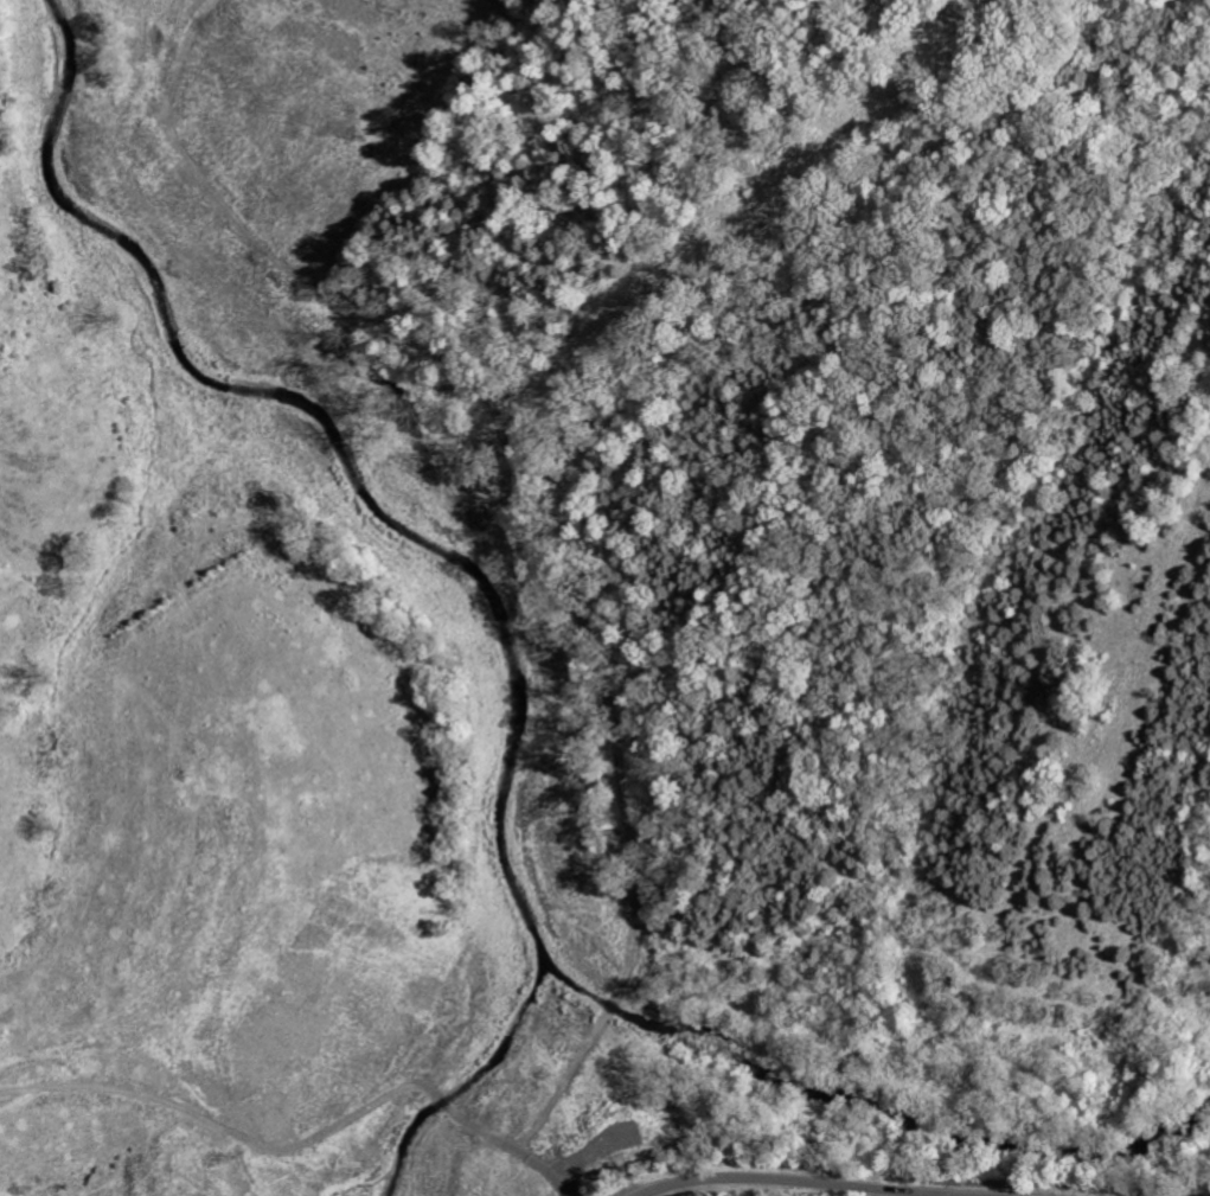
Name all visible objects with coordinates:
road: (1056, 794)
road: (808, 1184)
road: (1192, 1194)

